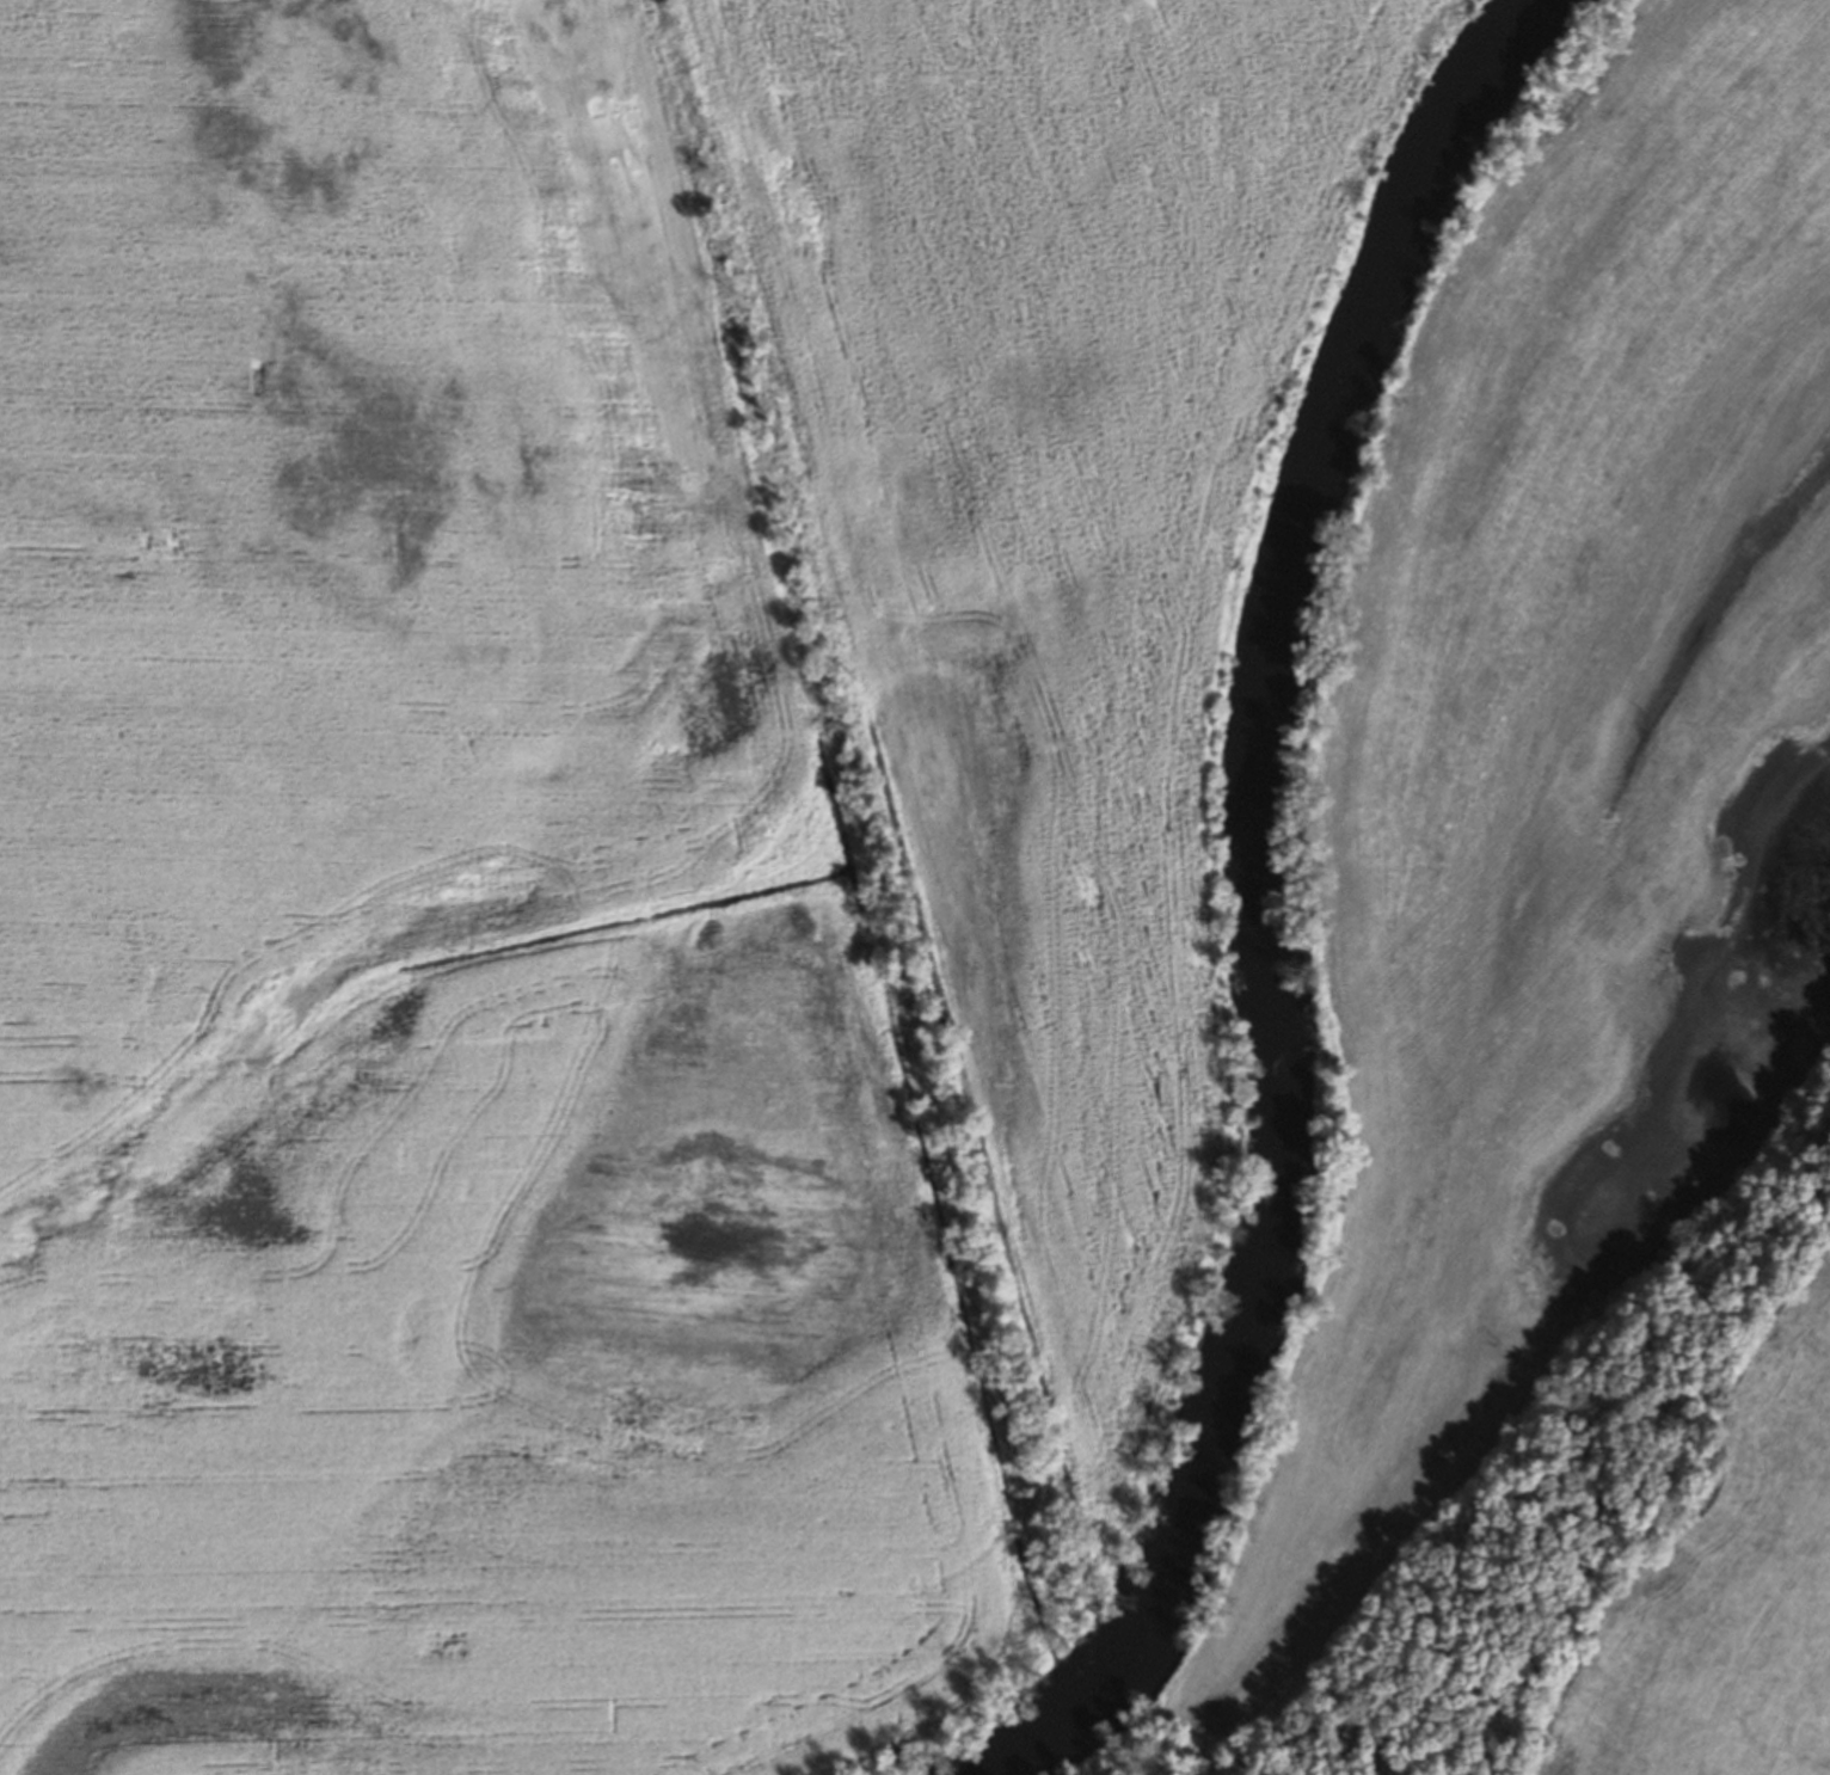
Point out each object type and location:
river: (1273, 903)
road: (1275, 1670)

